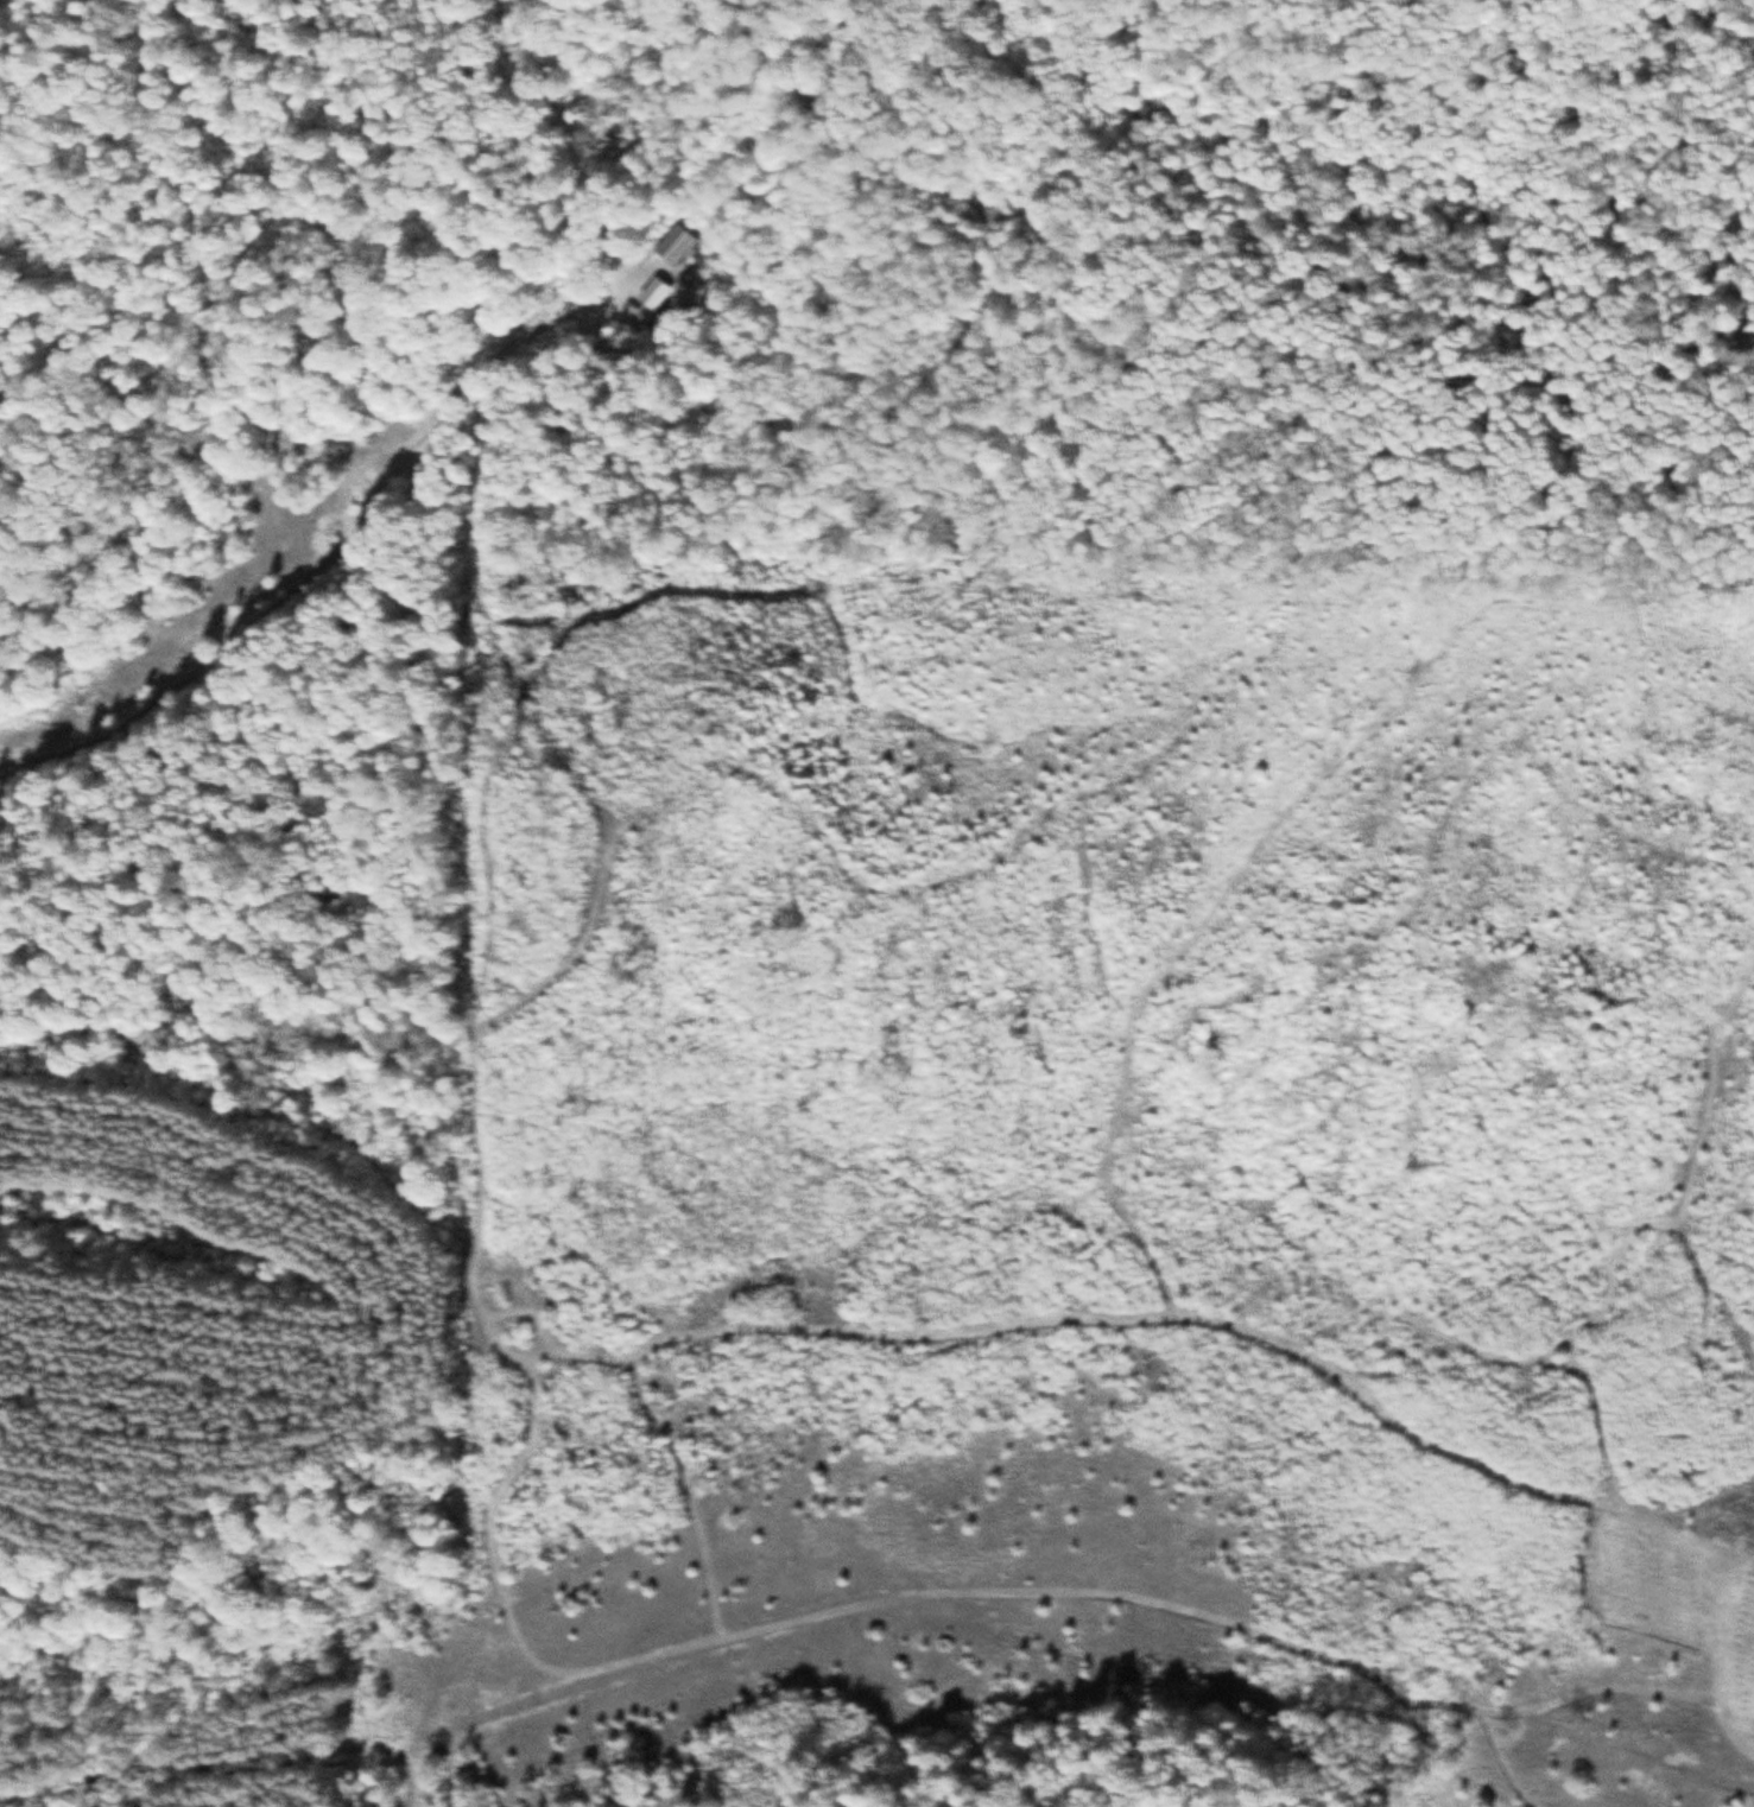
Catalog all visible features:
building: (677, 241)
road: (388, 449)

